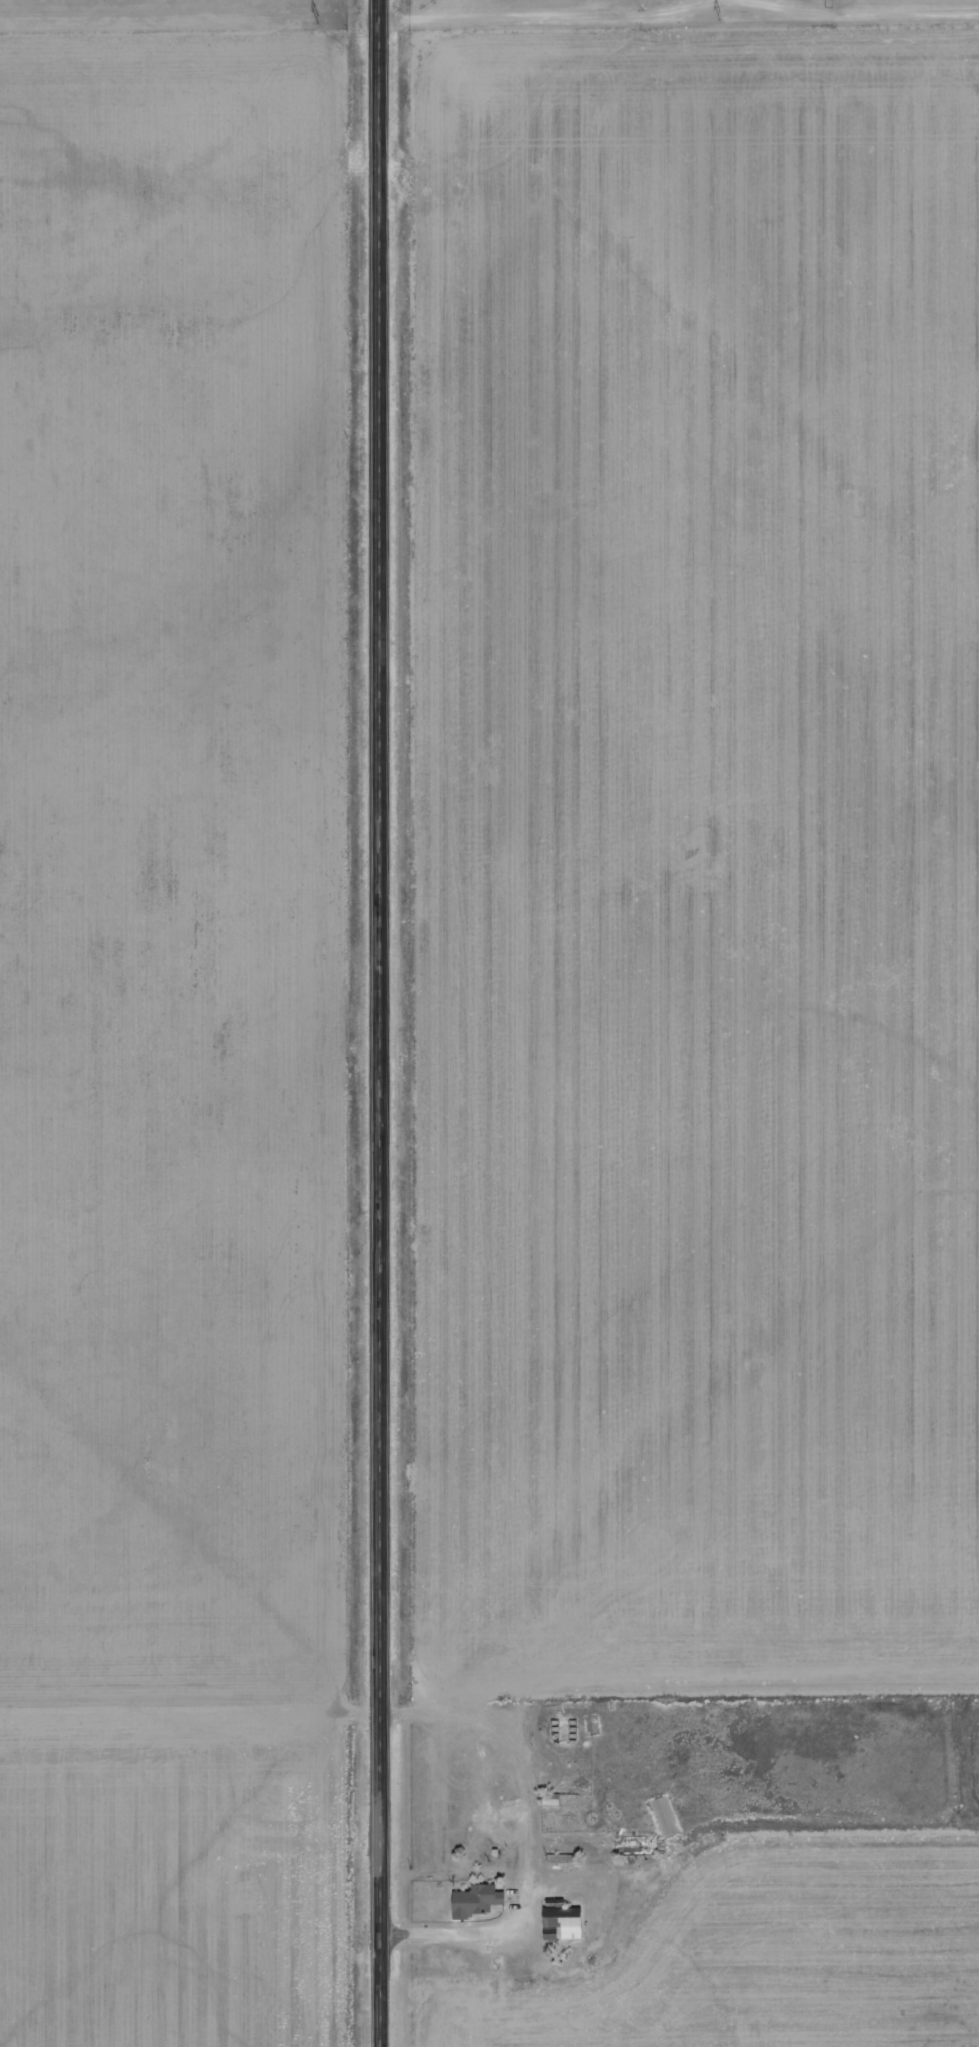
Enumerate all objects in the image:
power tower: (718, 15)
power tower: (315, 20)
road: (385, 1023)
building: (665, 1815)

